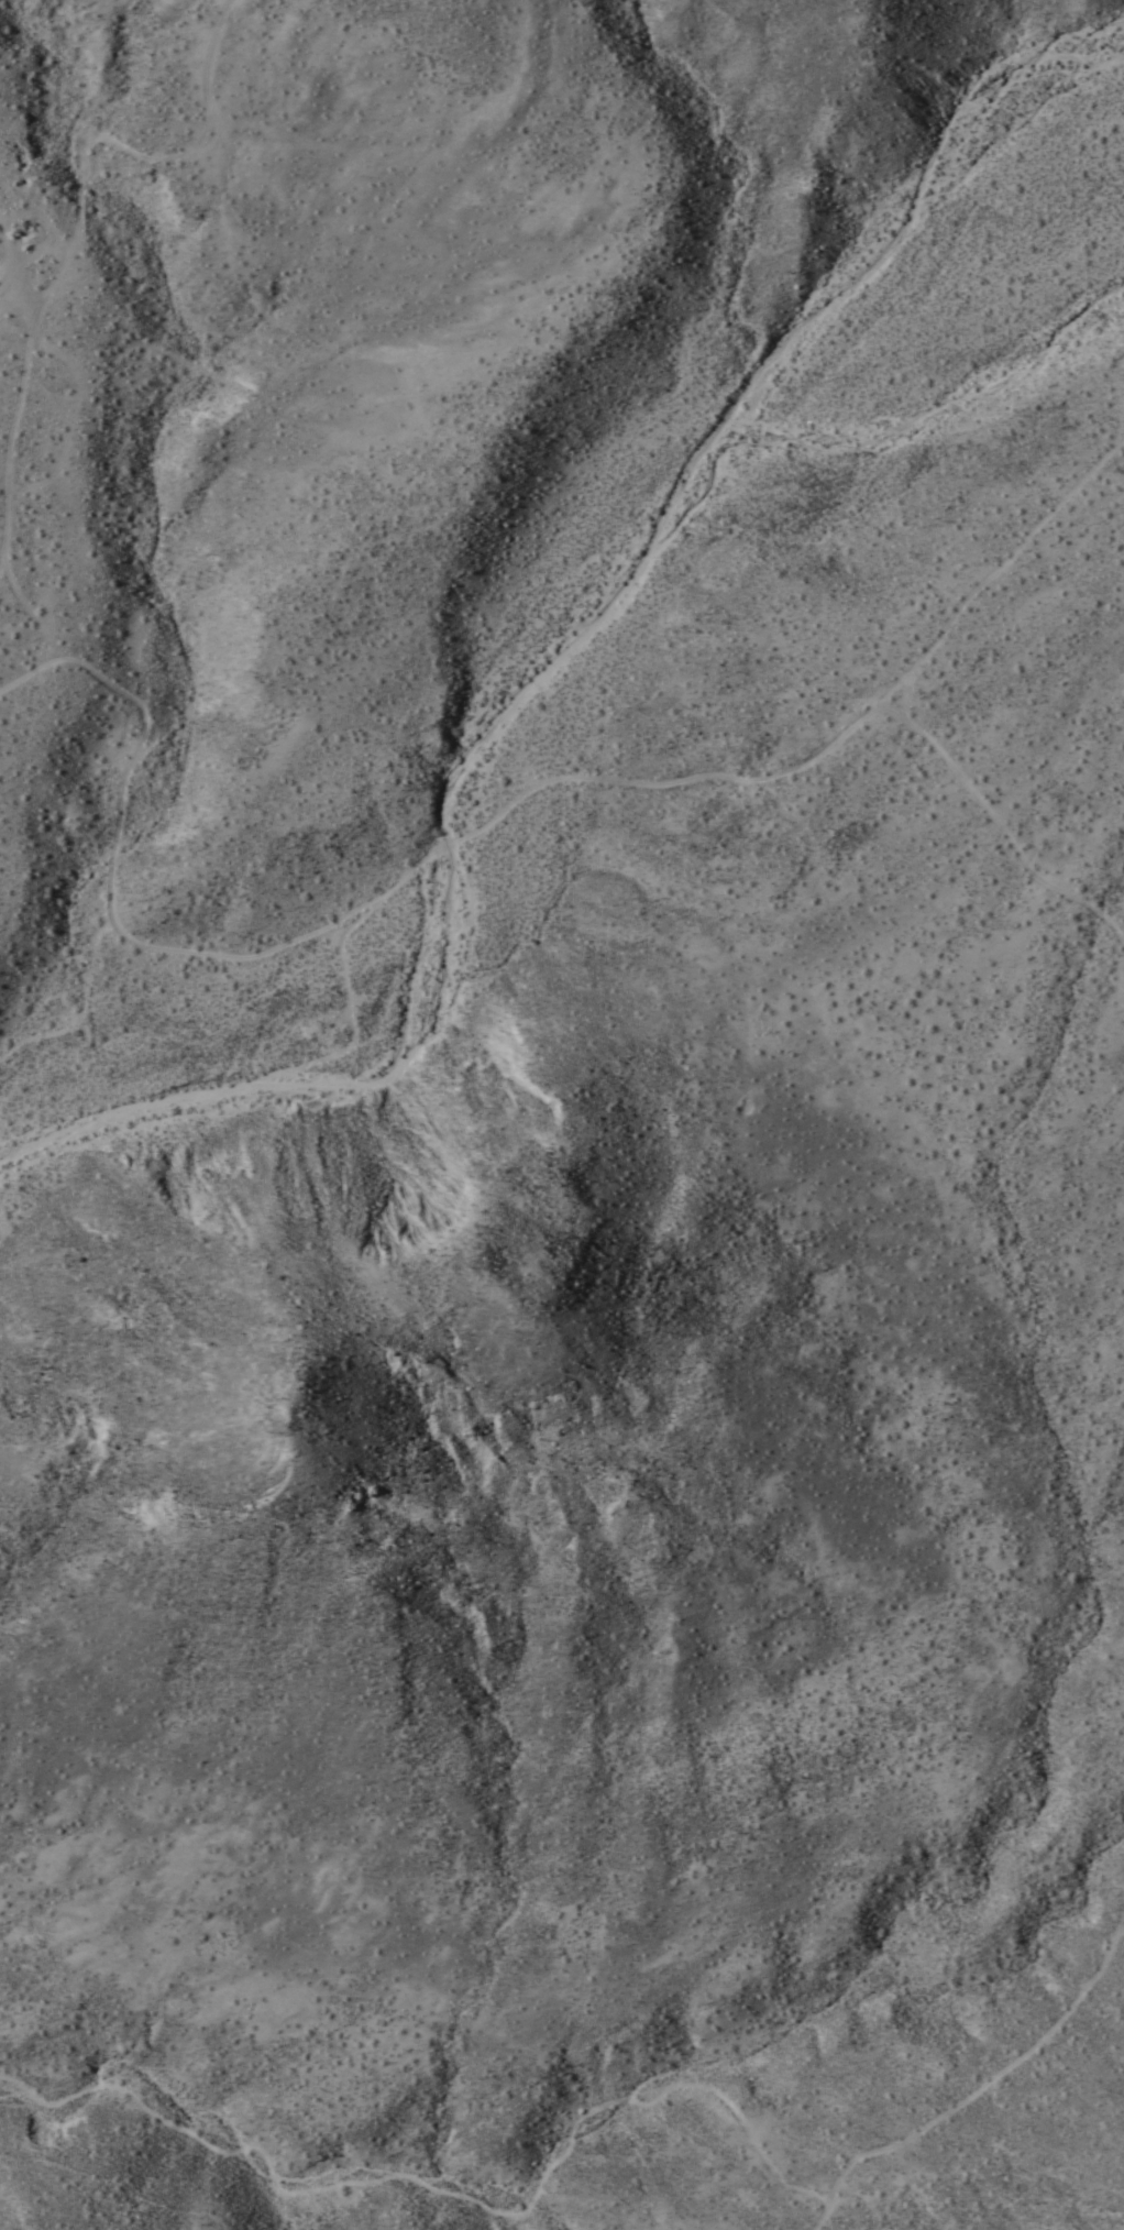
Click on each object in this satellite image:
road: (443, 2191)

